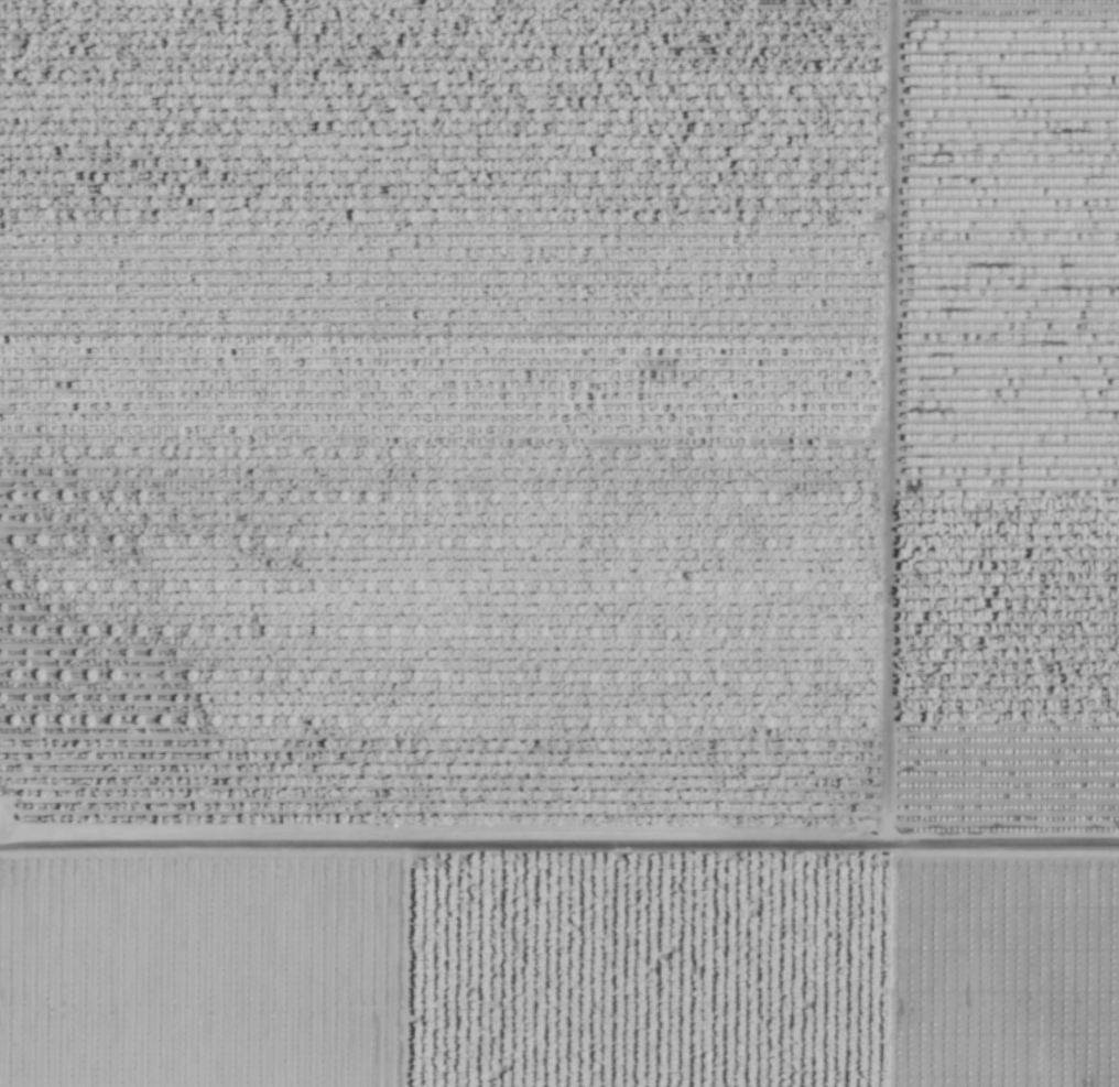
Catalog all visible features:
crop: (559, 543)
road: (559, 856)

